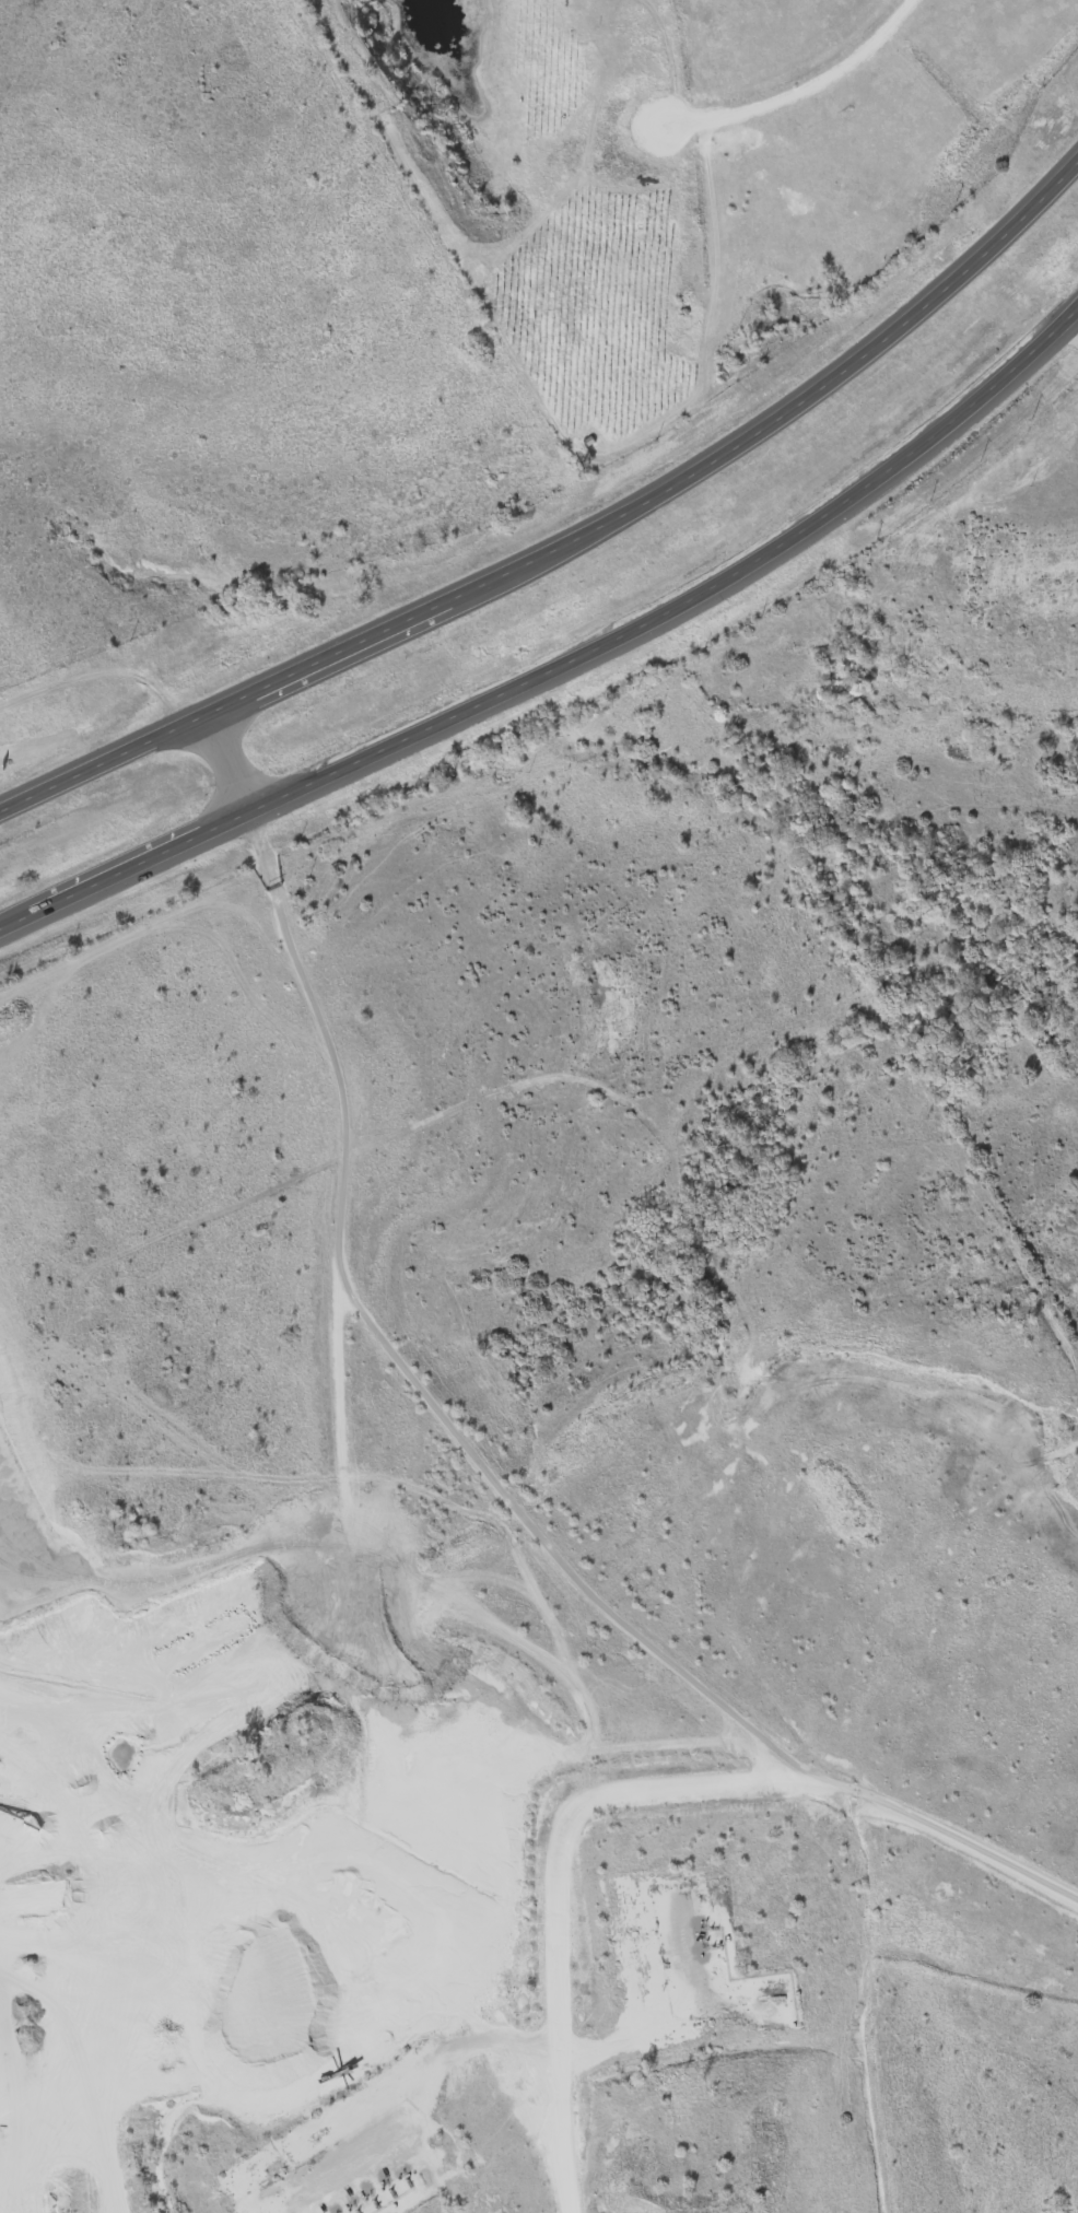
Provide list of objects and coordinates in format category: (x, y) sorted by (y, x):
road: (797, 84)
road: (573, 536)
road: (688, 595)
road: (226, 758)
road: (125, 866)
road: (546, 1535)
road: (372, 1574)
road: (198, 1757)
road: (559, 1896)

